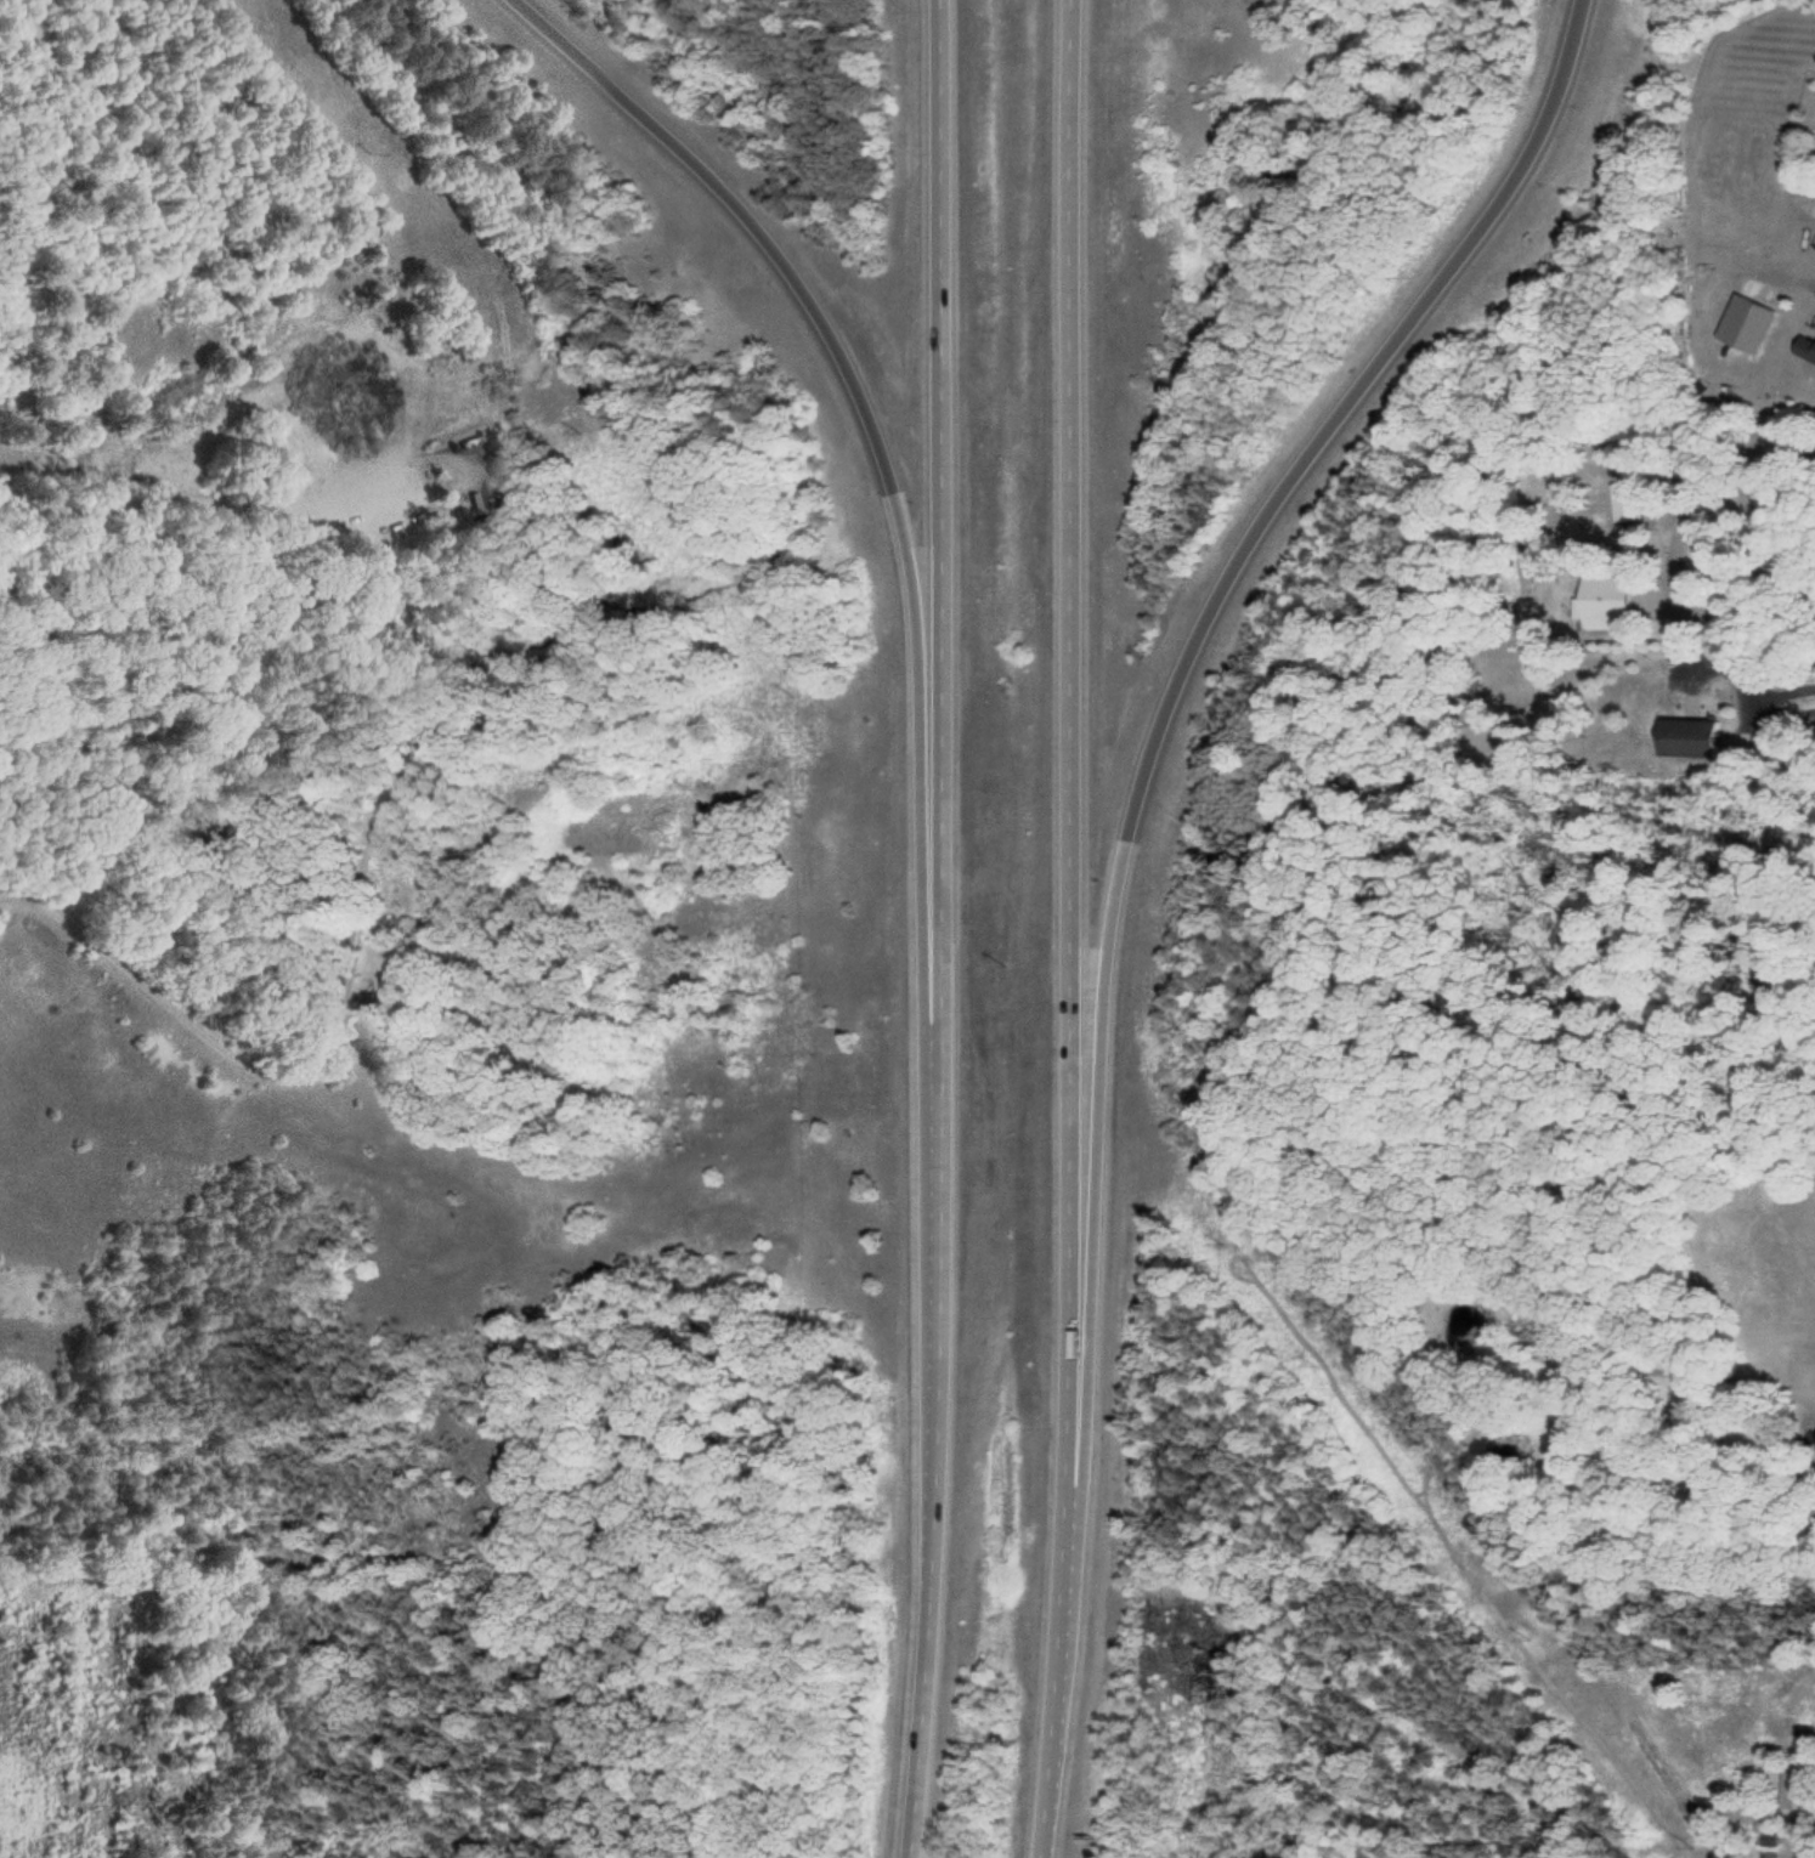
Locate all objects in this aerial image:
road: (816, 322)
building: (1806, 350)
building: (1627, 502)
road: (1201, 594)
building: (1608, 605)
building: (1689, 738)
road: (389, 794)
road: (932, 929)
road: (1073, 929)
building: (932, 1171)
building: (1800, 1235)

